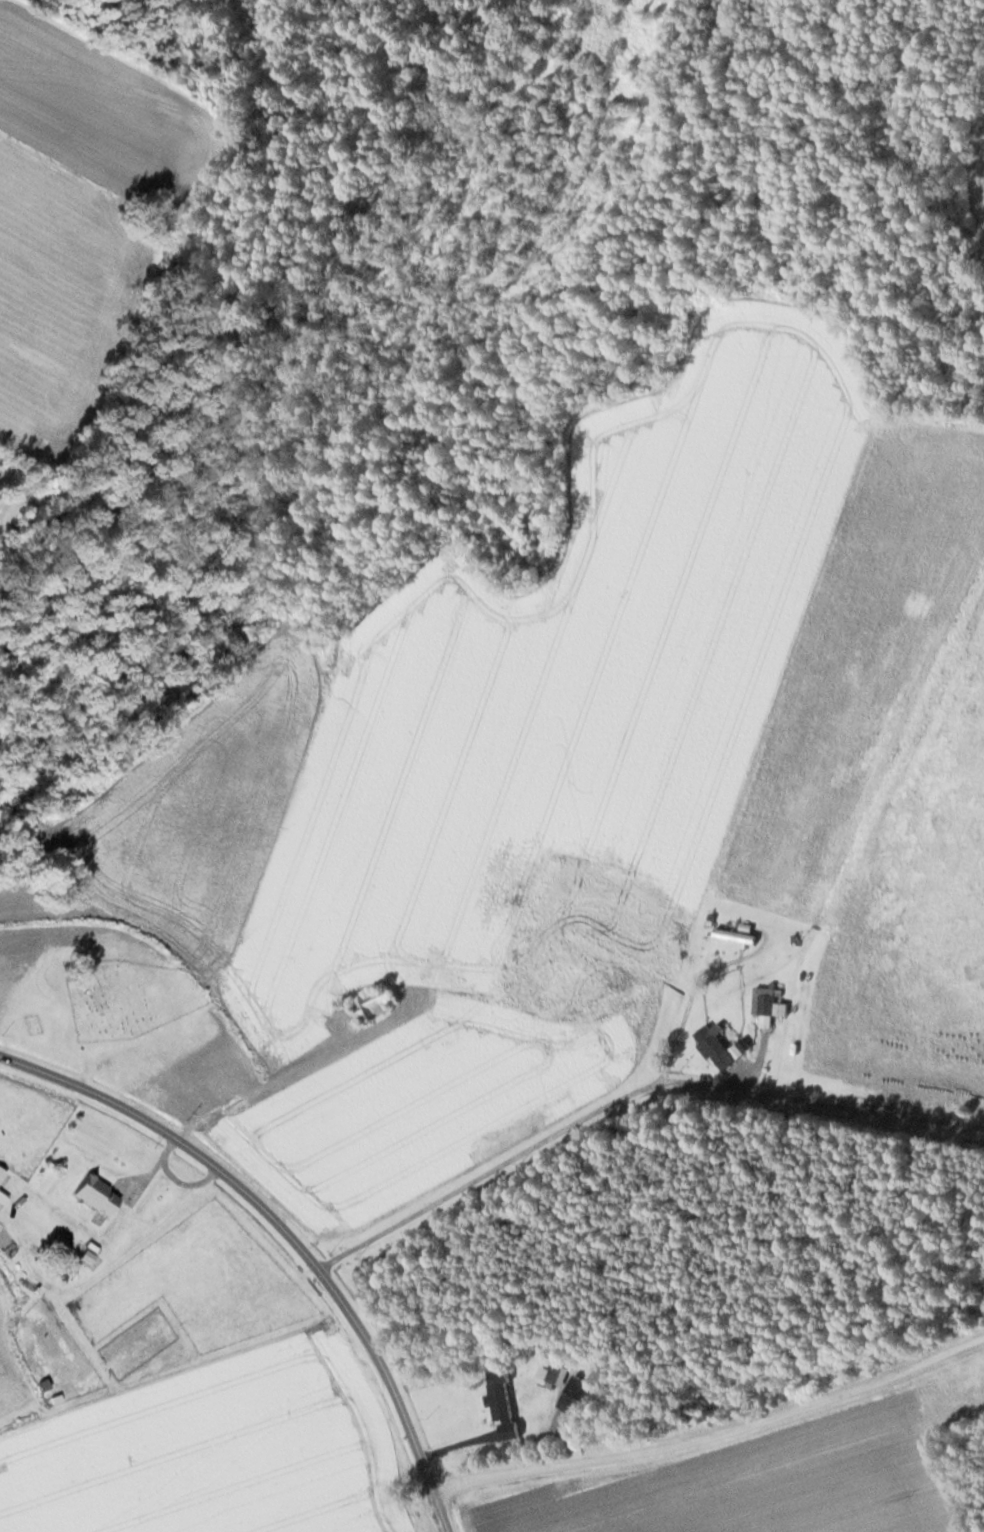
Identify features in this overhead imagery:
building: (734, 938)
building: (763, 1003)
building: (373, 1005)
building: (716, 1048)
road: (629, 1096)
building: (2, 1175)
building: (97, 1196)
building: (2, 1199)
road: (284, 1238)
building: (574, 1395)
building: (502, 1406)
road: (715, 1436)

